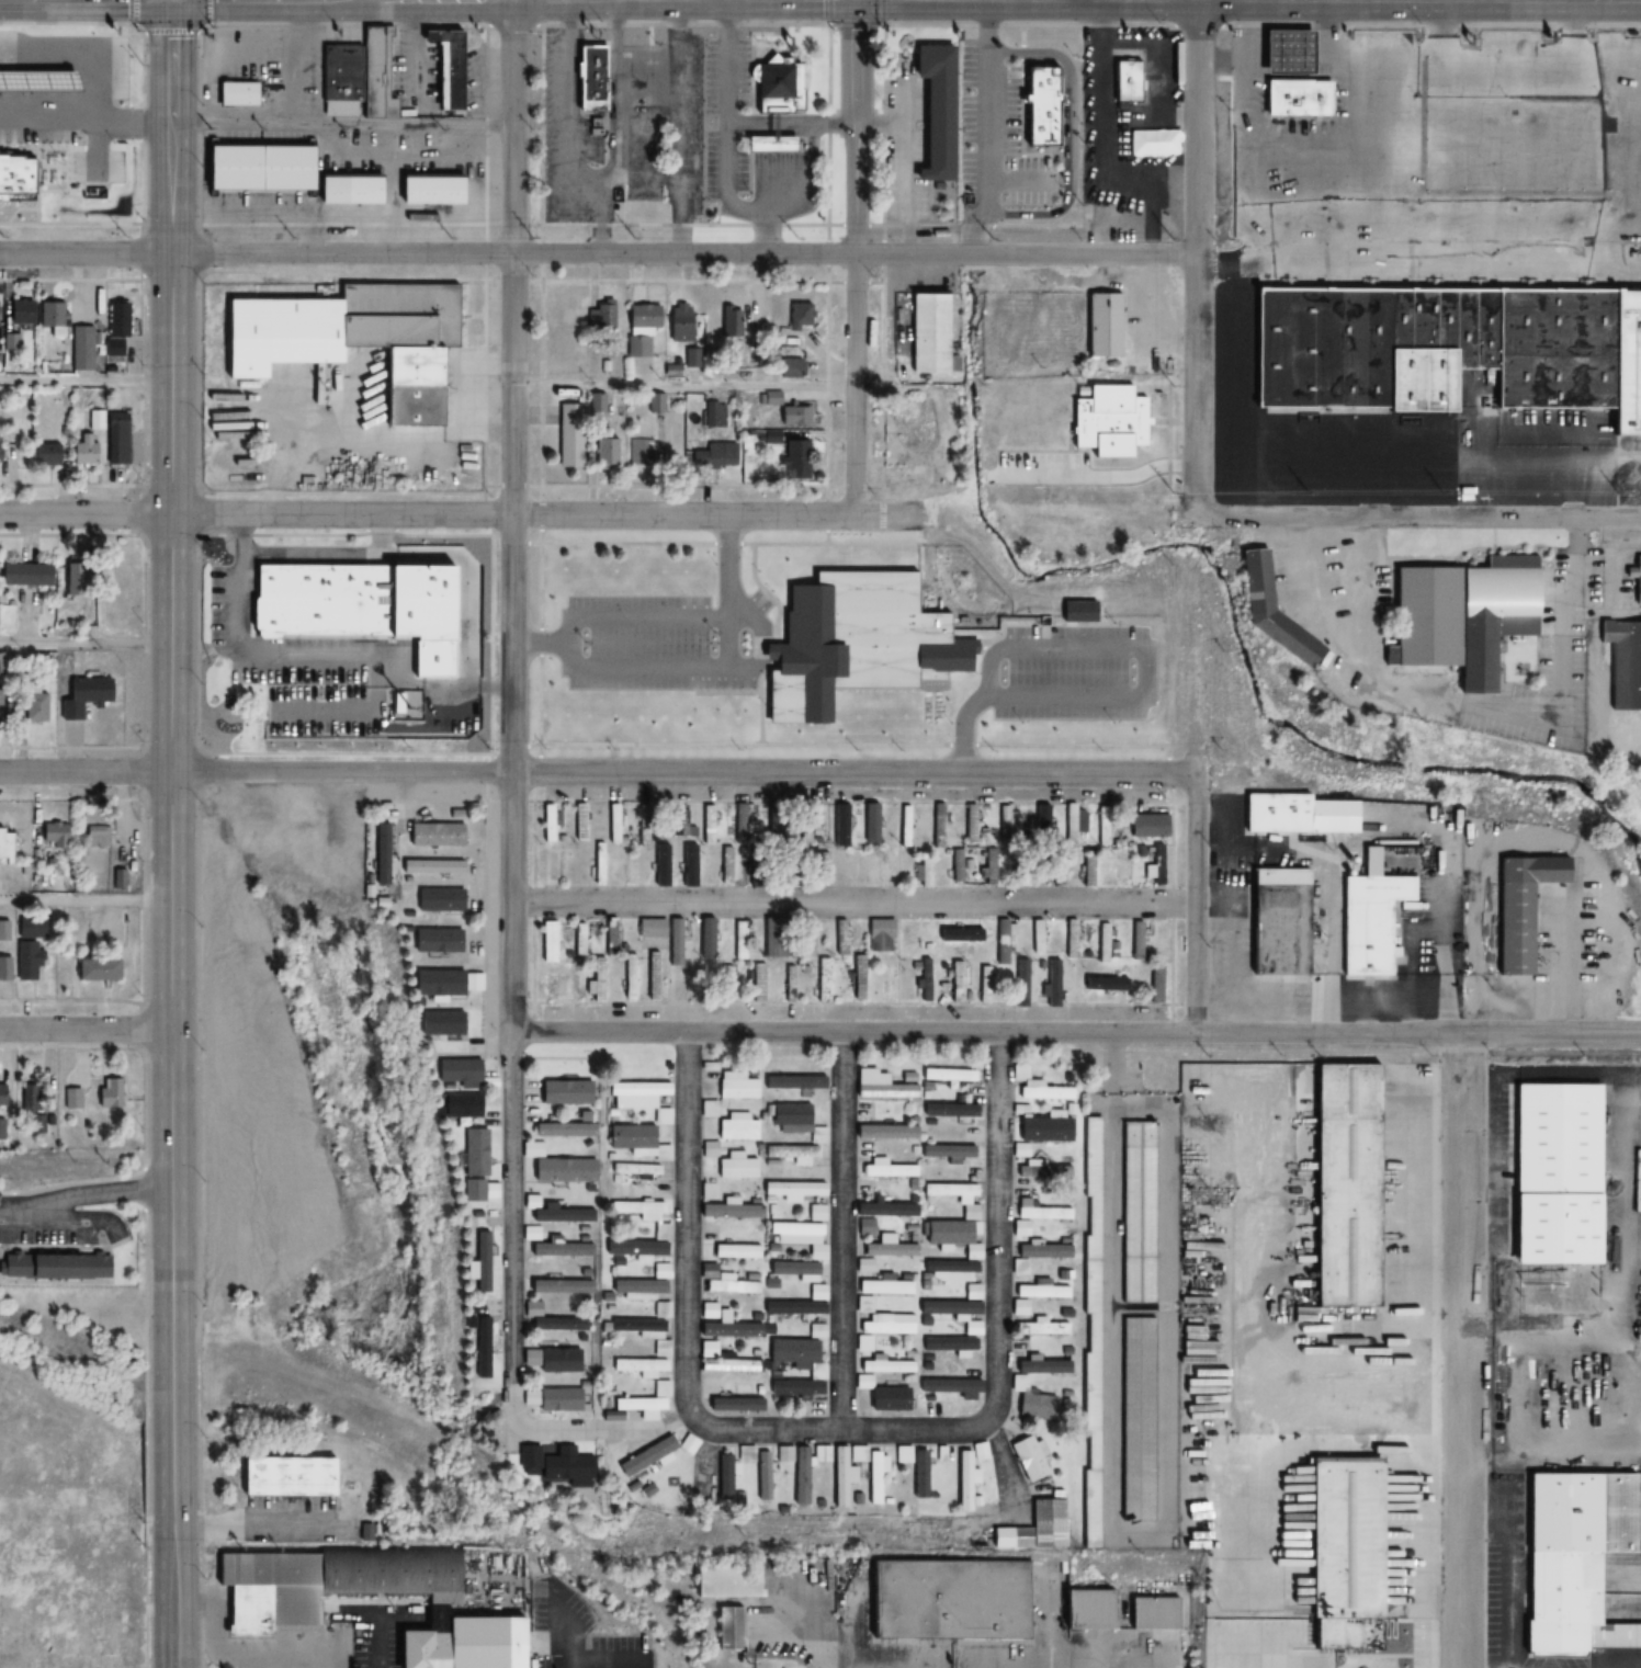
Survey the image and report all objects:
road: (134, 11)
road: (208, 11)
road: (829, 11)
road: (887, 11)
road: (543, 22)
road: (859, 22)
road: (1431, 24)
road: (171, 31)
building: (49, 45)
building: (1283, 52)
gas station: (1283, 52)
building: (442, 67)
building: (643, 71)
building: (339, 73)
building: (374, 73)
road: (884, 76)
building: (588, 77)
building: (1122, 83)
building: (234, 95)
building: (83, 99)
building: (1294, 99)
building: (771, 100)
building: (1043, 107)
building: (932, 110)
parking lot: (726, 118)
road: (144, 125)
road: (256, 125)
road: (988, 127)
road: (727, 139)
building: (81, 143)
building: (253, 168)
building: (24, 177)
building: (431, 190)
building: (350, 191)
building: (78, 213)
road: (473, 223)
power tower: (1161, 240)
road: (599, 252)
road: (1199, 256)
road: (857, 258)
road: (1419, 269)
building: (19, 311)
building: (52, 314)
building: (600, 316)
building: (800, 317)
building: (729, 321)
building: (679, 324)
building: (1101, 325)
building: (640, 328)
building: (115, 329)
building: (927, 331)
building: (346, 336)
building: (1433, 342)
building: (80, 349)
building: (1626, 360)
building: (791, 367)
road: (86, 383)
road: (684, 385)
building: (794, 416)
building: (1107, 421)
building: (908, 433)
building: (568, 435)
building: (769, 438)
building: (114, 447)
building: (82, 451)
building: (641, 452)
building: (606, 453)
building: (43, 454)
building: (714, 455)
building: (794, 461)
power tower: (1159, 495)
road: (460, 514)
road: (512, 515)
road: (1422, 518)
building: (23, 575)
building: (72, 577)
building: (1637, 590)
building: (317, 600)
building: (1270, 610)
building: (1461, 615)
road: (87, 642)
building: (2, 665)
building: (1623, 665)
building: (84, 694)
building: (33, 705)
road: (173, 734)
road: (87, 769)
road: (684, 771)
building: (1299, 815)
building: (679, 821)
building: (579, 822)
building: (738, 822)
building: (1006, 822)
building: (546, 824)
building: (613, 824)
building: (871, 824)
building: (970, 824)
building: (1039, 824)
building: (1074, 824)
building: (1147, 824)
building: (706, 825)
building: (838, 826)
building: (905, 826)
building: (938, 826)
building: (1101, 826)
building: (804, 828)
building: (643, 831)
building: (97, 835)
building: (435, 835)
building: (52, 836)
building: (4, 843)
building: (382, 853)
building: (597, 864)
building: (724, 865)
building: (957, 865)
building: (989, 865)
building: (1153, 865)
building: (431, 867)
building: (630, 867)
building: (890, 867)
building: (1120, 867)
building: (820, 869)
building: (1057, 869)
building: (1088, 870)
building: (923, 872)
building: (1022, 873)
road: (1197, 893)
building: (439, 899)
road: (87, 903)
road: (853, 903)
building: (1520, 908)
building: (1367, 922)
building: (1275, 923)
building: (27, 929)
building: (650, 929)
building: (3, 930)
building: (880, 935)
building: (611, 937)
building: (1037, 937)
building: (774, 939)
building: (839, 939)
building: (1070, 939)
building: (578, 940)
building: (1135, 940)
building: (435, 941)
building: (547, 942)
building: (675, 942)
building: (1101, 942)
building: (802, 943)
building: (706, 946)
building: (1001, 948)
building: (738, 954)
building: (25, 962)
building: (4, 969)
building: (93, 971)
building: (652, 976)
building: (626, 978)
building: (924, 979)
building: (596, 980)
building: (693, 980)
building: (824, 980)
building: (957, 981)
building: (1087, 981)
building: (445, 983)
building: (758, 983)
building: (1020, 983)
building: (1053, 983)
building: (1156, 983)
building: (727, 984)
building: (889, 984)
building: (1121, 984)
building: (556, 985)
building: (984, 985)
building: (858, 989)
building: (439, 1024)
road: (87, 1030)
road: (853, 1034)
road: (1417, 1035)
building: (456, 1073)
building: (793, 1075)
building: (947, 1075)
building: (883, 1085)
building: (736, 1086)
building: (565, 1092)
building: (106, 1093)
building: (0, 1096)
building: (24, 1099)
building: (68, 1099)
building: (638, 1099)
building: (457, 1107)
building: (953, 1117)
building: (795, 1122)
building: (737, 1127)
building: (564, 1131)
building: (638, 1142)
building: (1021, 1151)
building: (472, 1153)
building: (792, 1154)
building: (557, 1167)
building: (737, 1168)
building: (636, 1170)
building: (887, 1170)
building: (1551, 1175)
building: (1343, 1184)
building: (793, 1190)
building: (471, 1191)
road: (97, 1193)
building: (967, 1203)
building: (708, 1210)
building: (554, 1212)
building: (816, 1212)
building: (1138, 1213)
building: (881, 1214)
building: (641, 1216)
building: (1037, 1217)
road: (1461, 1217)
road: (64, 1223)
building: (530, 1233)
road: (844, 1233)
building: (951, 1236)
building: (799, 1237)
building: (889, 1247)
building: (634, 1249)
building: (561, 1250)
building: (736, 1252)
building: (1091, 1252)
building: (478, 1262)
building: (53, 1264)
building: (864, 1266)
building: (732, 1284)
building: (561, 1286)
building: (883, 1287)
building: (638, 1289)
building: (816, 1292)
building: (972, 1293)
building: (1033, 1294)
road: (687, 1302)
road: (999, 1303)
building: (661, 1309)
building: (710, 1309)
road: (511, 1319)
building: (557, 1324)
building: (878, 1325)
building: (1038, 1327)
building: (637, 1328)
building: (816, 1330)
building: (950, 1346)
building: (478, 1348)
building: (660, 1348)
building: (795, 1353)
building: (558, 1361)
building: (723, 1361)
building: (637, 1365)
building: (863, 1381)
building: (1019, 1383)
building: (959, 1388)
building: (792, 1391)
building: (558, 1400)
building: (652, 1402)
building: (735, 1404)
building: (1136, 1419)
building: (686, 1444)
building: (978, 1452)
building: (744, 1454)
building: (940, 1455)
building: (820, 1456)
building: (642, 1457)
building: (1027, 1460)
building: (551, 1464)
building: (914, 1468)
building: (1088, 1471)
building: (870, 1474)
building: (283, 1477)
building: (722, 1478)
building: (838, 1478)
building: (799, 1480)
building: (963, 1483)
building: (760, 1496)
parking lot: (288, 1519)
building: (1033, 1525)
road: (1141, 1531)
road: (1461, 1533)
building: (1357, 1545)
building: (1584, 1555)
road: (174, 1568)
building: (723, 1581)
building: (324, 1584)
building: (960, 1596)
building: (1097, 1605)
building: (1161, 1610)
building: (725, 1630)
building: (471, 1641)

